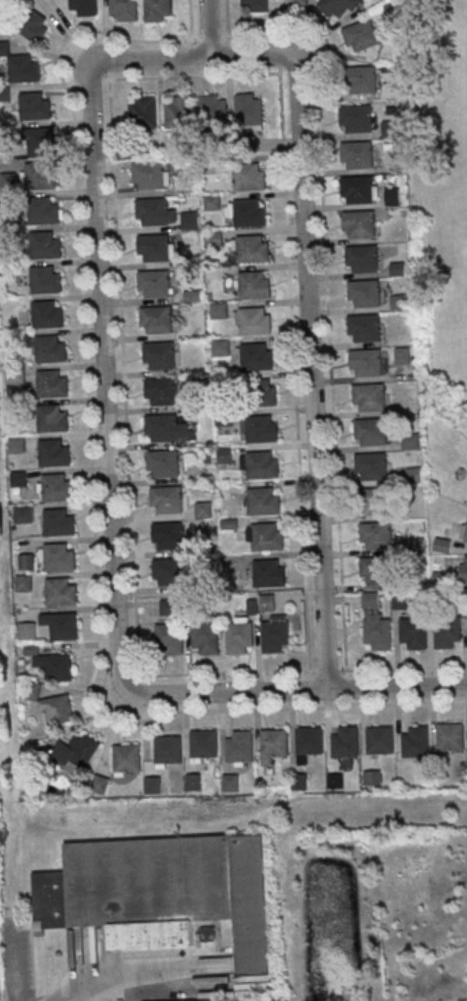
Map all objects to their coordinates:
building: (292, 0)
building: (301, 2)
building: (257, 5)
building: (85, 6)
building: (339, 7)
building: (125, 9)
building: (157, 9)
road: (190, 20)
building: (35, 26)
road: (208, 28)
building: (361, 34)
road: (155, 40)
road: (280, 60)
road: (110, 65)
building: (24, 67)
road: (195, 75)
building: (361, 78)
building: (34, 105)
building: (249, 109)
building: (213, 110)
building: (180, 111)
building: (143, 112)
building: (357, 117)
building: (390, 128)
building: (39, 141)
building: (358, 153)
building: (149, 173)
building: (41, 175)
building: (249, 176)
building: (357, 188)
building: (393, 195)
building: (212, 203)
building: (43, 209)
building: (153, 210)
building: (250, 212)
building: (190, 220)
building: (359, 222)
building: (215, 238)
building: (44, 244)
building: (155, 246)
building: (253, 248)
building: (363, 257)
building: (398, 268)
building: (44, 279)
road: (324, 280)
building: (154, 282)
building: (255, 284)
building: (365, 292)
building: (399, 301)
building: (47, 313)
building: (157, 318)
road: (104, 319)
building: (255, 320)
building: (364, 327)
road: (310, 330)
building: (50, 348)
building: (221, 348)
building: (159, 354)
building: (402, 355)
building: (257, 356)
building: (366, 361)
road: (294, 367)
building: (51, 383)
building: (162, 390)
building: (259, 392)
building: (369, 395)
building: (52, 417)
building: (162, 426)
building: (261, 429)
building: (371, 431)
building: (411, 440)
building: (17, 445)
building: (53, 452)
building: (164, 462)
building: (262, 464)
building: (372, 464)
building: (57, 486)
building: (167, 498)
building: (375, 499)
building: (264, 500)
building: (205, 510)
building: (24, 515)
building: (58, 522)
building: (465, 530)
building: (169, 534)
building: (376, 534)
road: (131, 536)
building: (267, 536)
building: (59, 556)
building: (26, 561)
building: (377, 569)
building: (463, 569)
building: (169, 570)
building: (269, 572)
building: (24, 583)
building: (61, 591)
building: (400, 601)
building: (60, 626)
building: (447, 630)
building: (414, 632)
building: (378, 633)
building: (275, 635)
building: (206, 636)
building: (239, 636)
building: (169, 638)
building: (56, 666)
road: (295, 690)
building: (51, 703)
road: (298, 708)
building: (451, 736)
building: (310, 739)
building: (380, 739)
building: (417, 741)
building: (275, 742)
building: (346, 742)
building: (204, 743)
building: (240, 746)
building: (169, 748)
building: (78, 751)
building: (128, 757)
building: (372, 778)
building: (194, 782)
building: (231, 782)
building: (154, 786)
building: (162, 892)
road: (121, 980)
building: (214, 1000)

